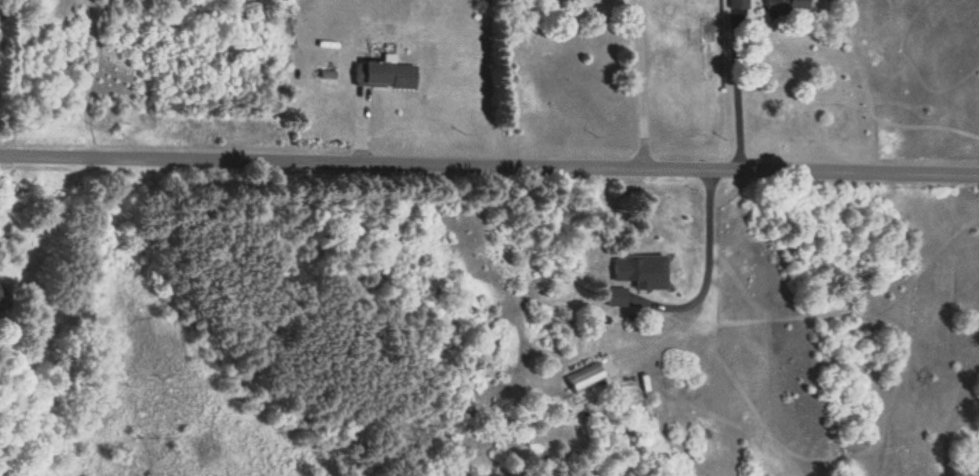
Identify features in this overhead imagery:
building: (737, 3)
building: (785, 4)
building: (385, 75)
road: (489, 161)
building: (627, 266)
building: (615, 294)
building: (0, 299)

